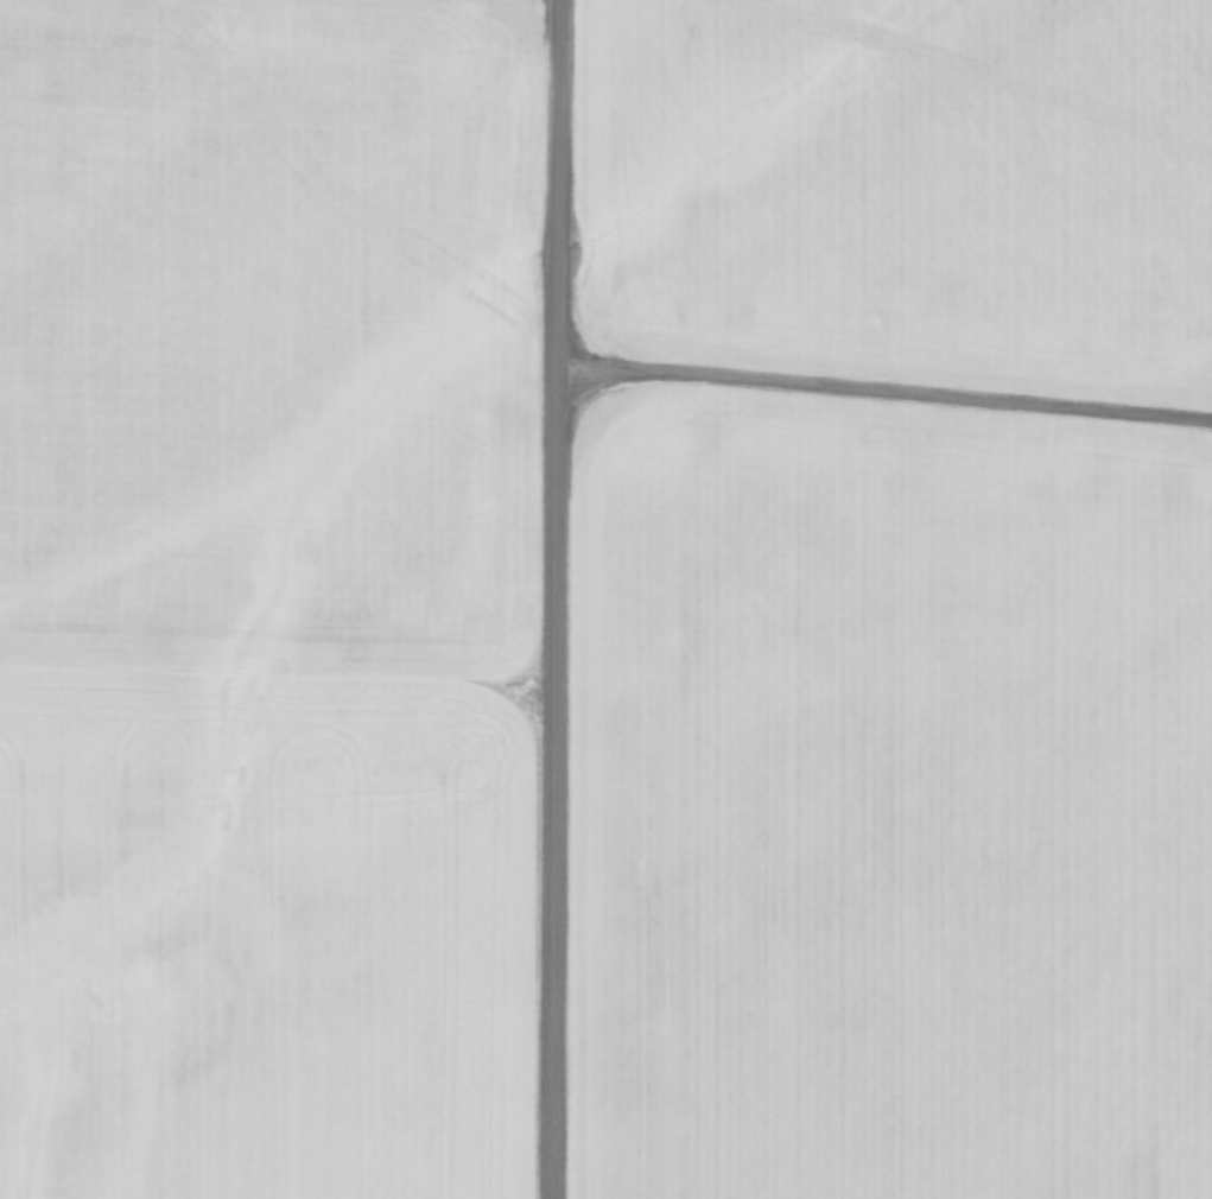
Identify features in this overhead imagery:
road: (881, 380)
road: (548, 599)

